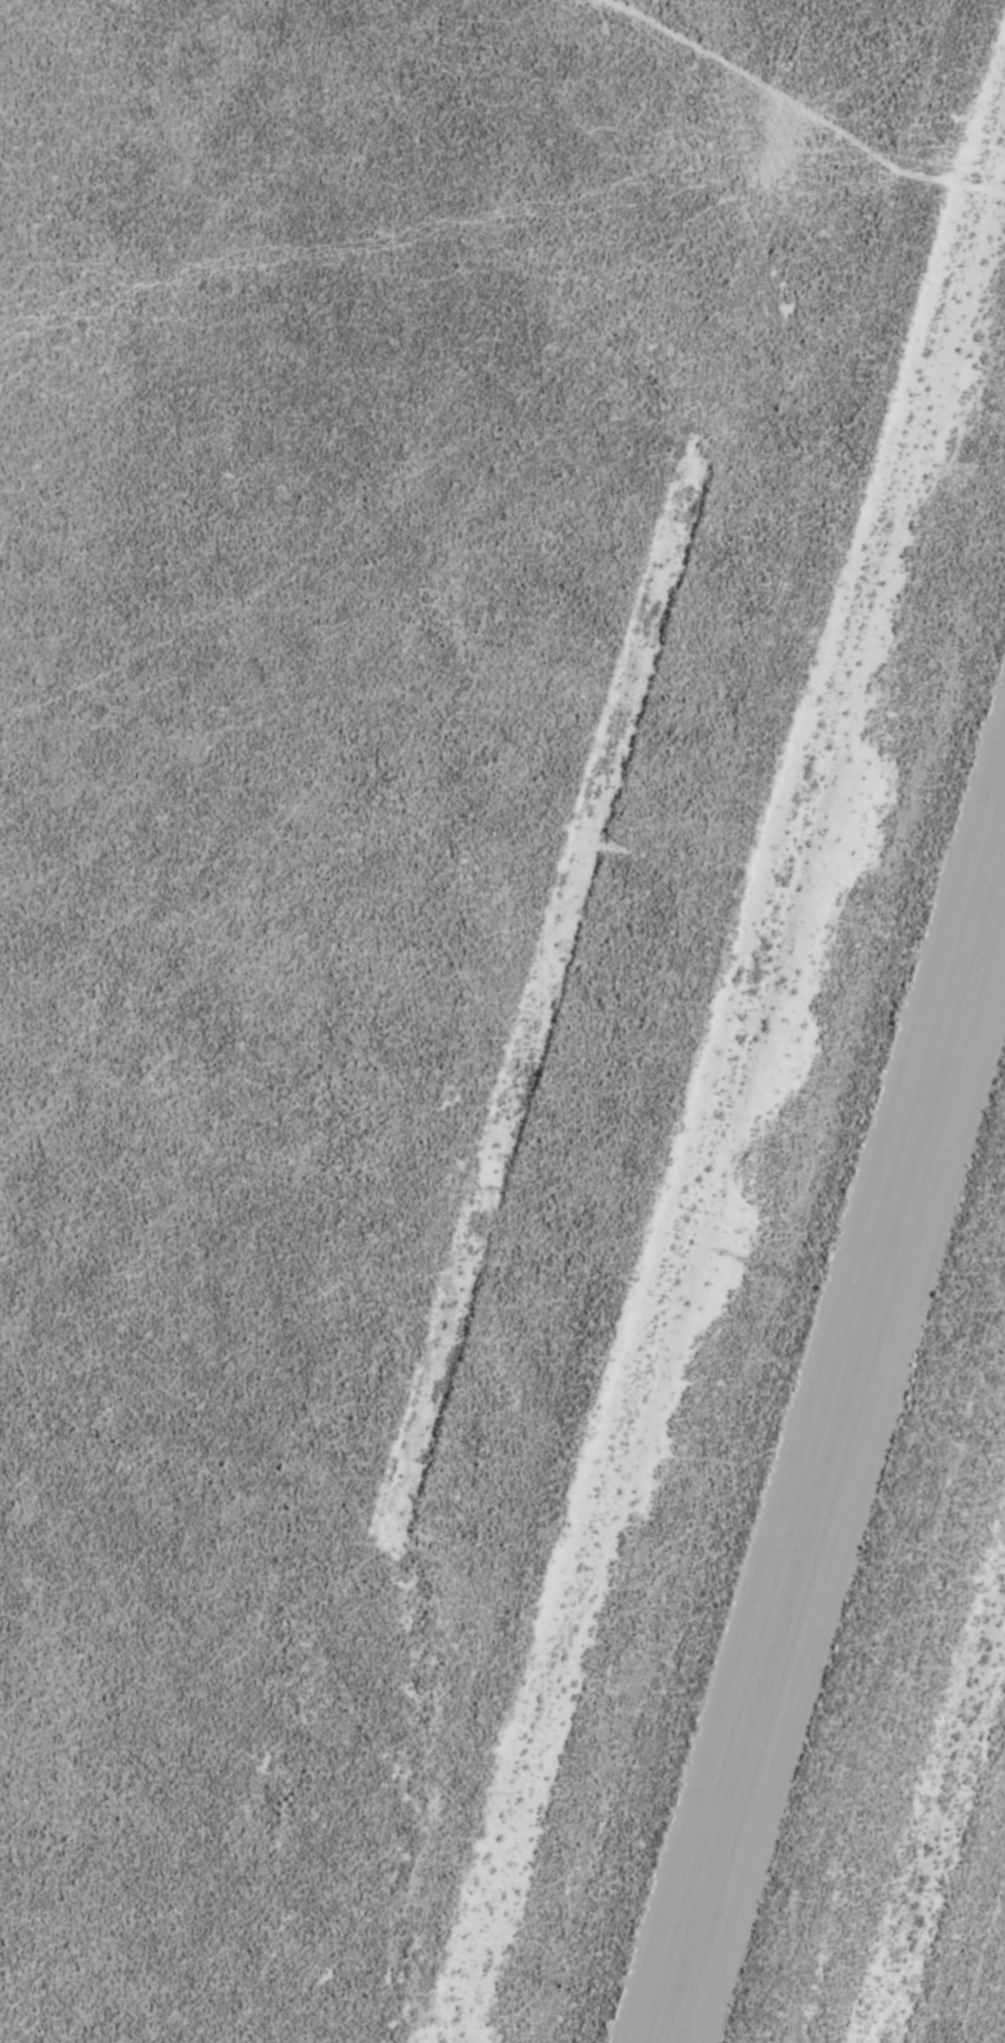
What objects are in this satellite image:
road: (805, 108)
airport runway: (836, 1447)

